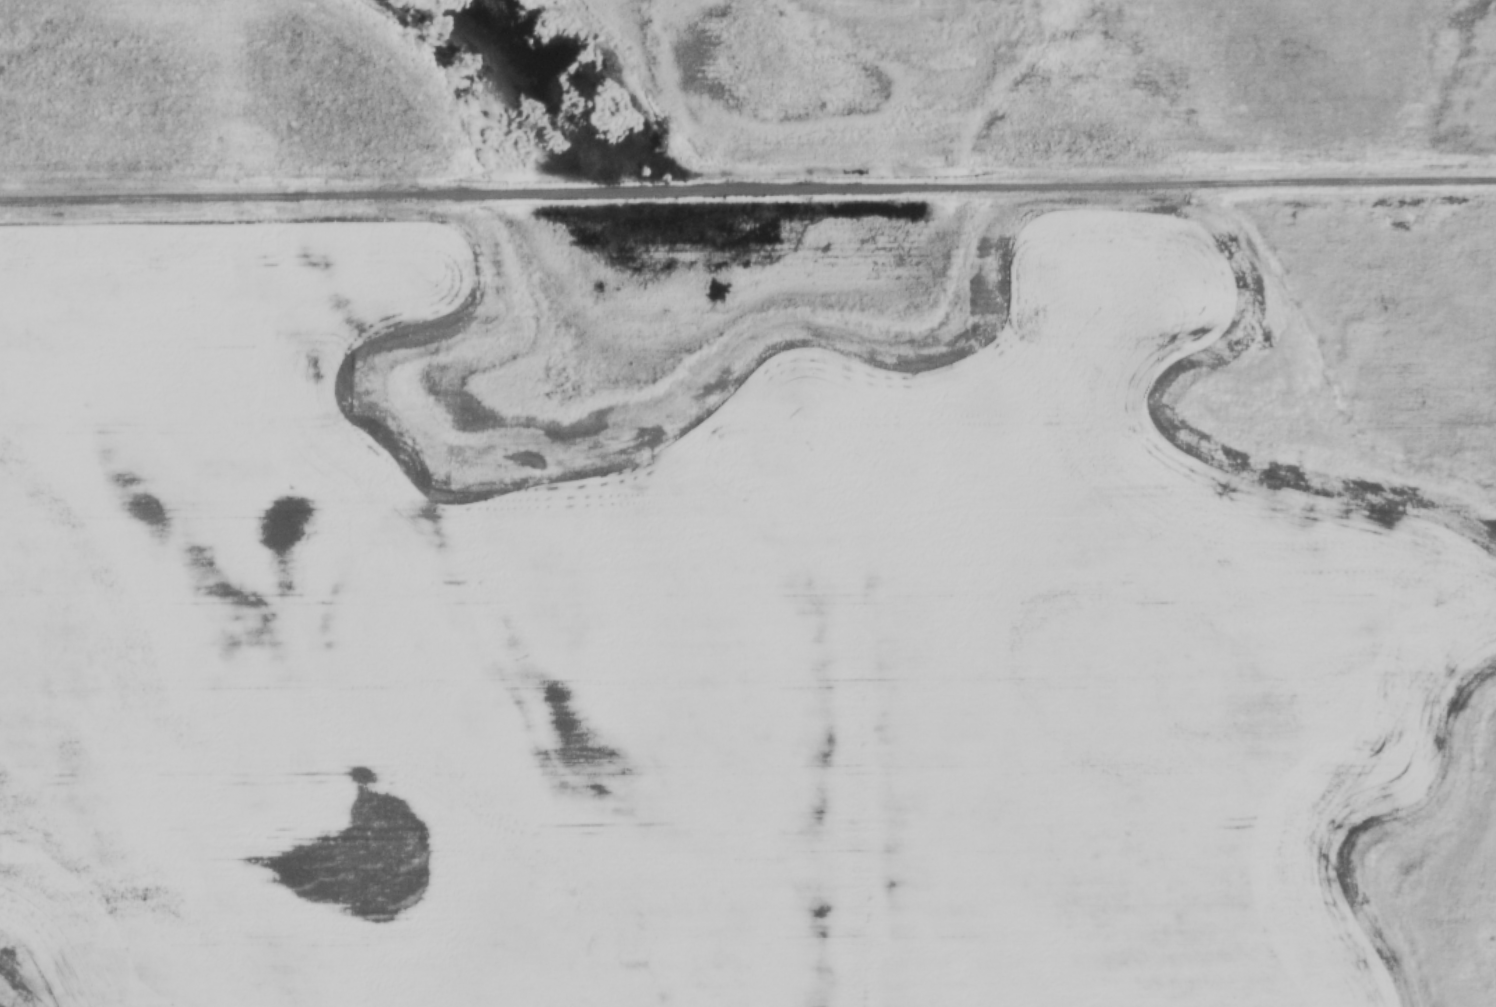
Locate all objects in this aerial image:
road: (748, 192)

